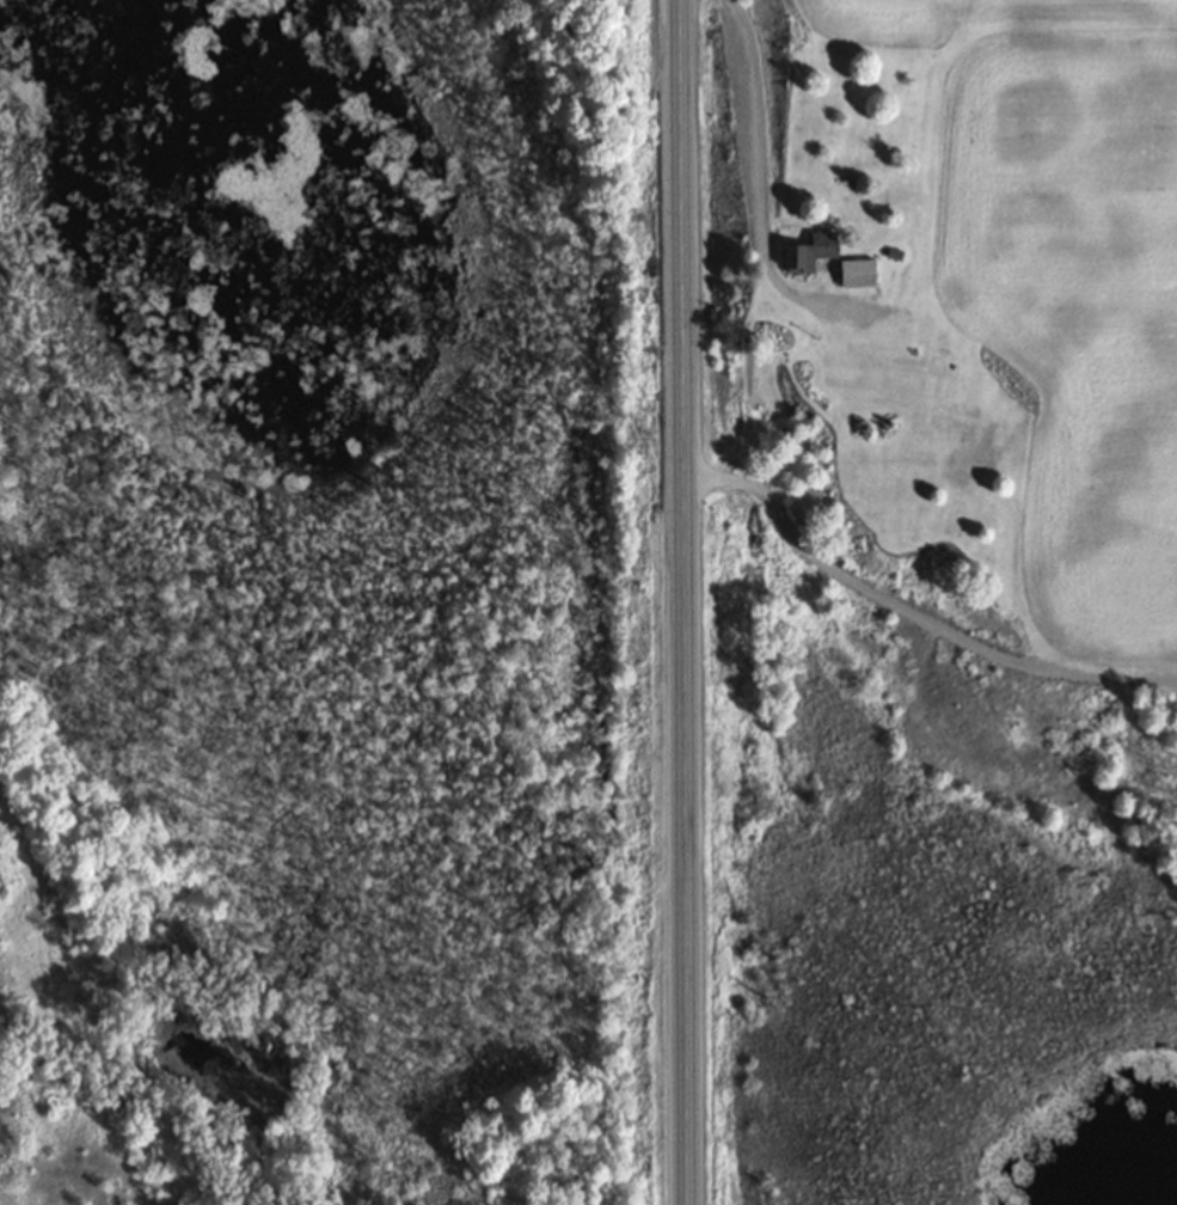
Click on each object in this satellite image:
building: (807, 251)
building: (854, 271)
road: (679, 601)

